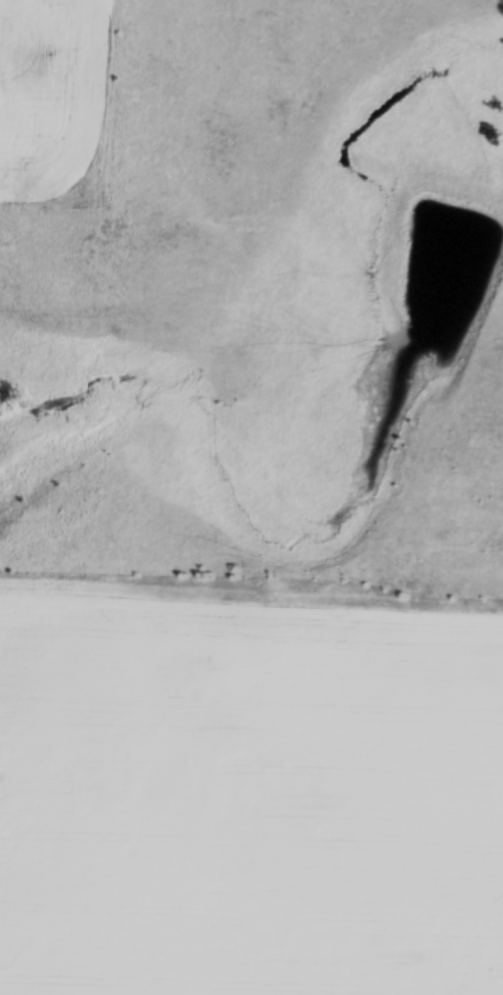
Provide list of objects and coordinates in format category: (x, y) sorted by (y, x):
river: (437, 278)

